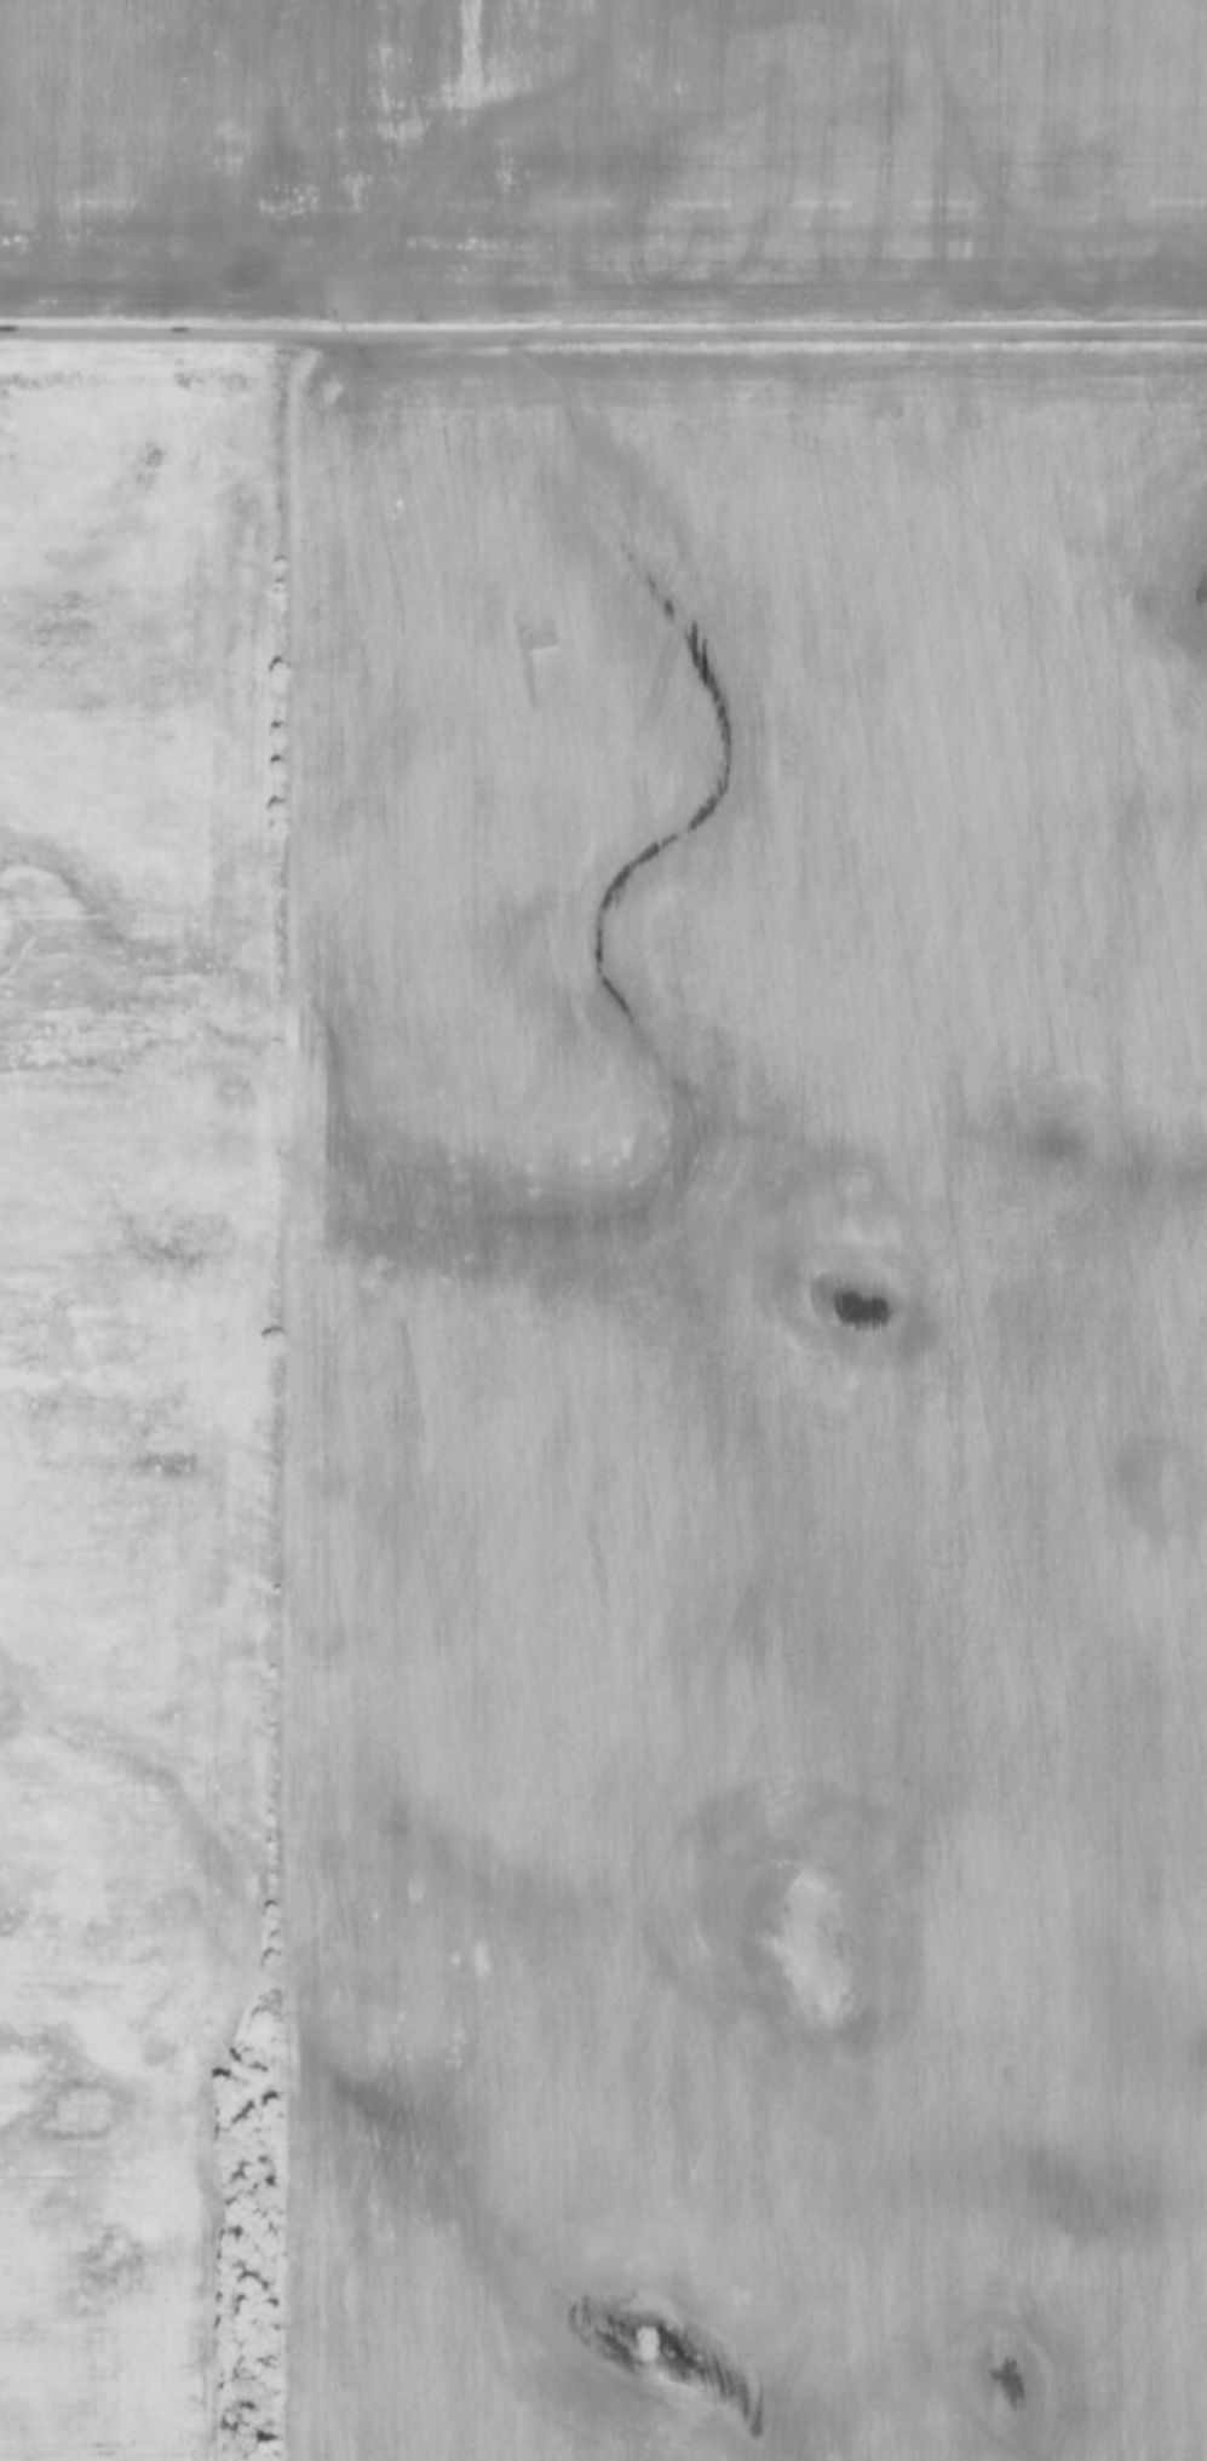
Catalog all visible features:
road: (603, 343)

